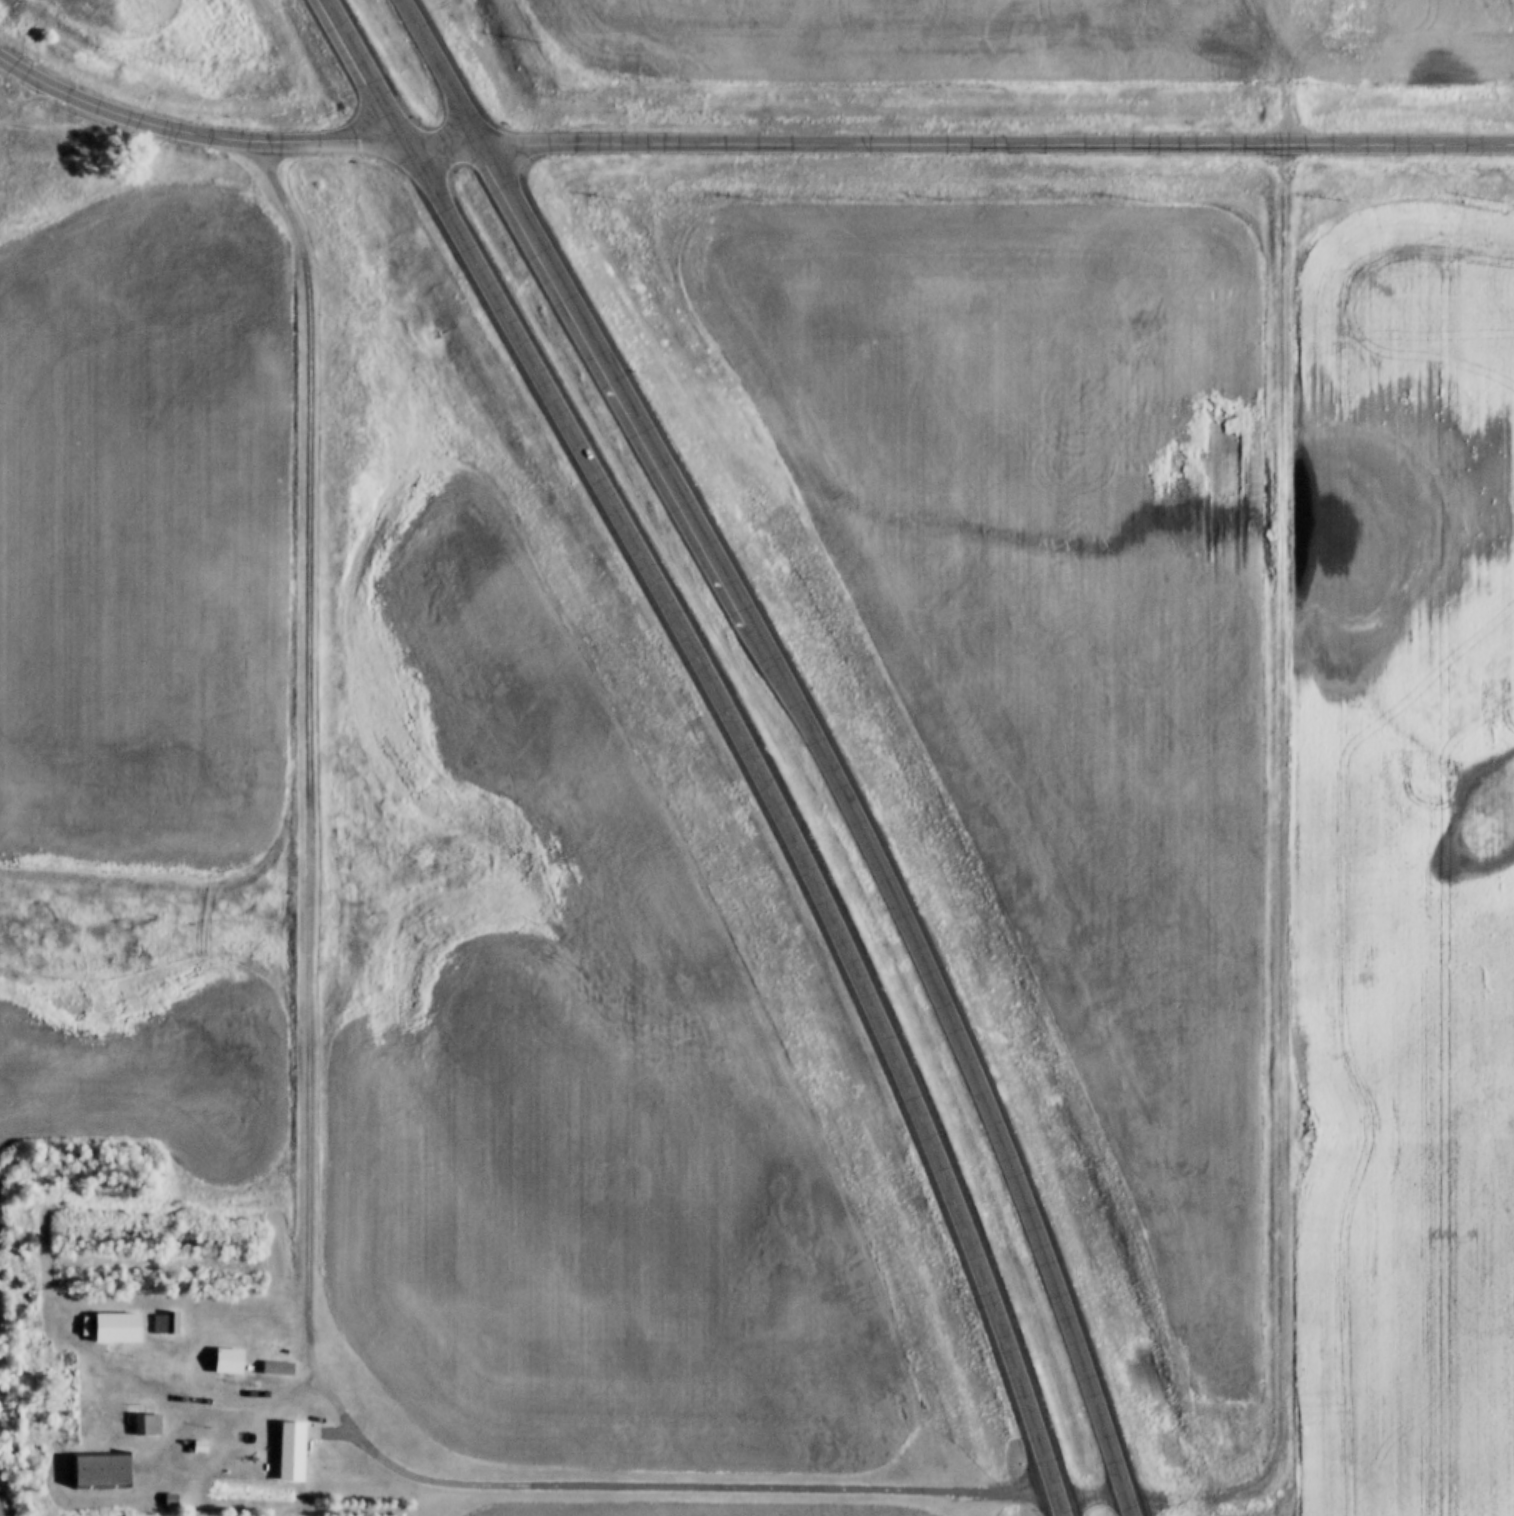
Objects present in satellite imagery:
road: (370, 73)
road: (442, 73)
road: (748, 145)
road: (614, 382)
road: (310, 787)
road: (1291, 810)
road: (781, 811)
road: (966, 1054)
building: (165, 1323)
building: (118, 1328)
building: (270, 1342)
building: (230, 1361)
building: (278, 1368)
building: (148, 1425)
building: (293, 1452)
building: (103, 1470)
road: (424, 1477)
road: (792, 1487)
road: (1090, 1492)

